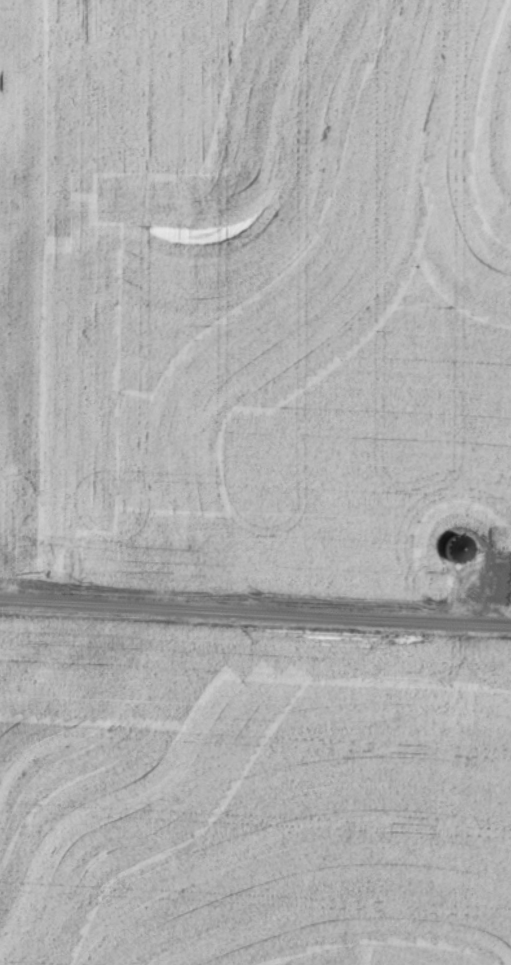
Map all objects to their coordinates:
road: (255, 610)

